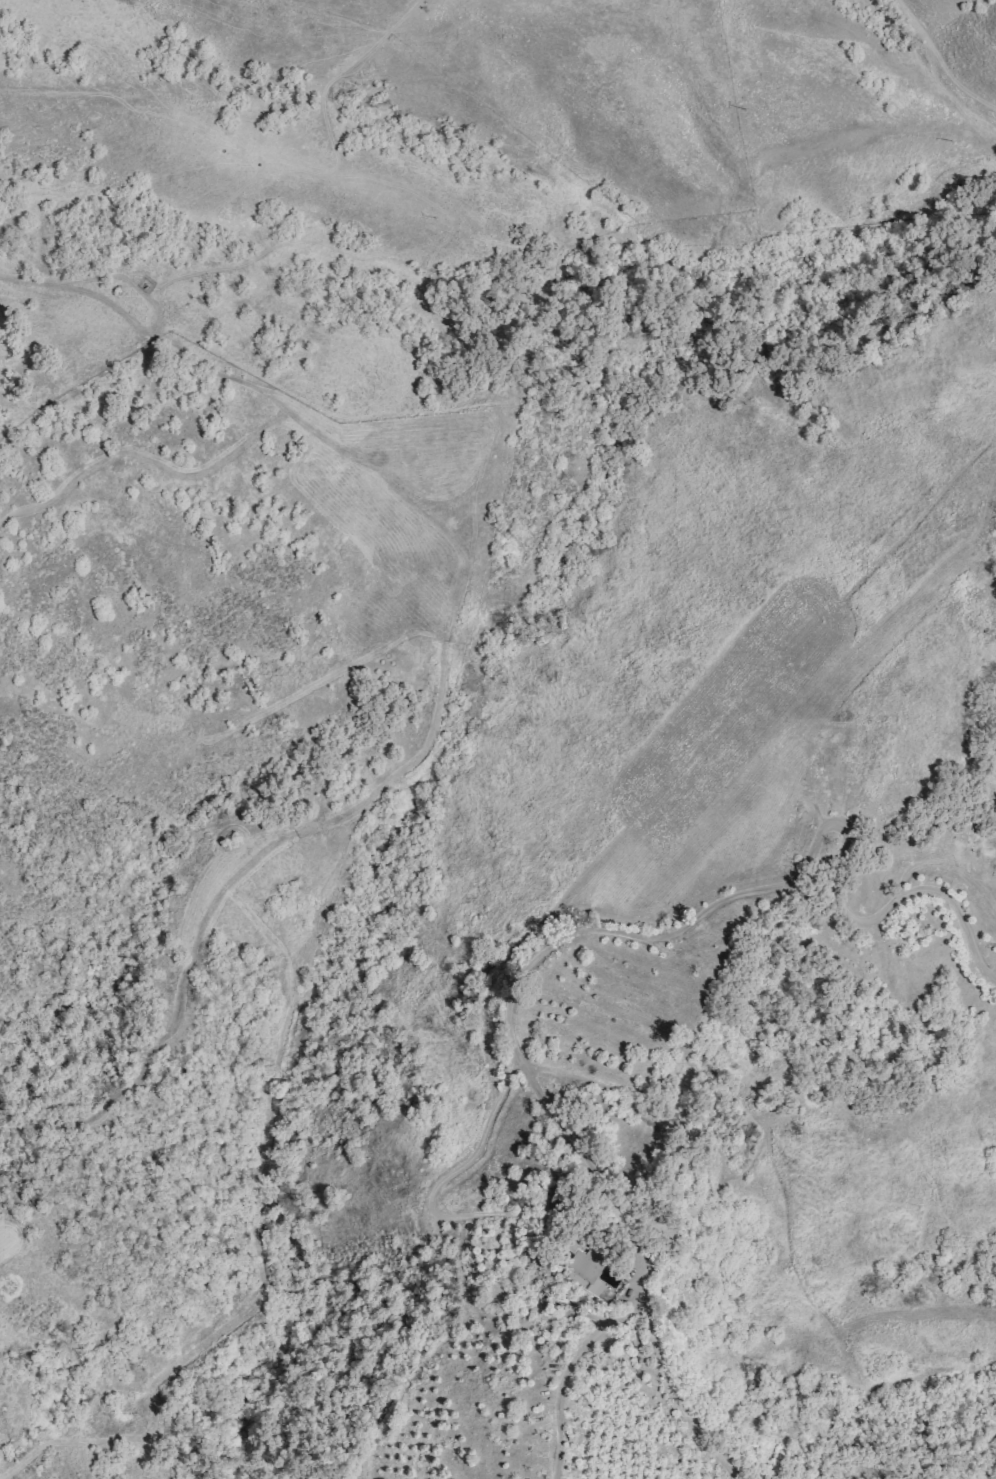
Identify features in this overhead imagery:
road: (939, 61)
road: (660, 935)
building: (586, 1268)
road: (467, 1291)
road: (590, 1338)

